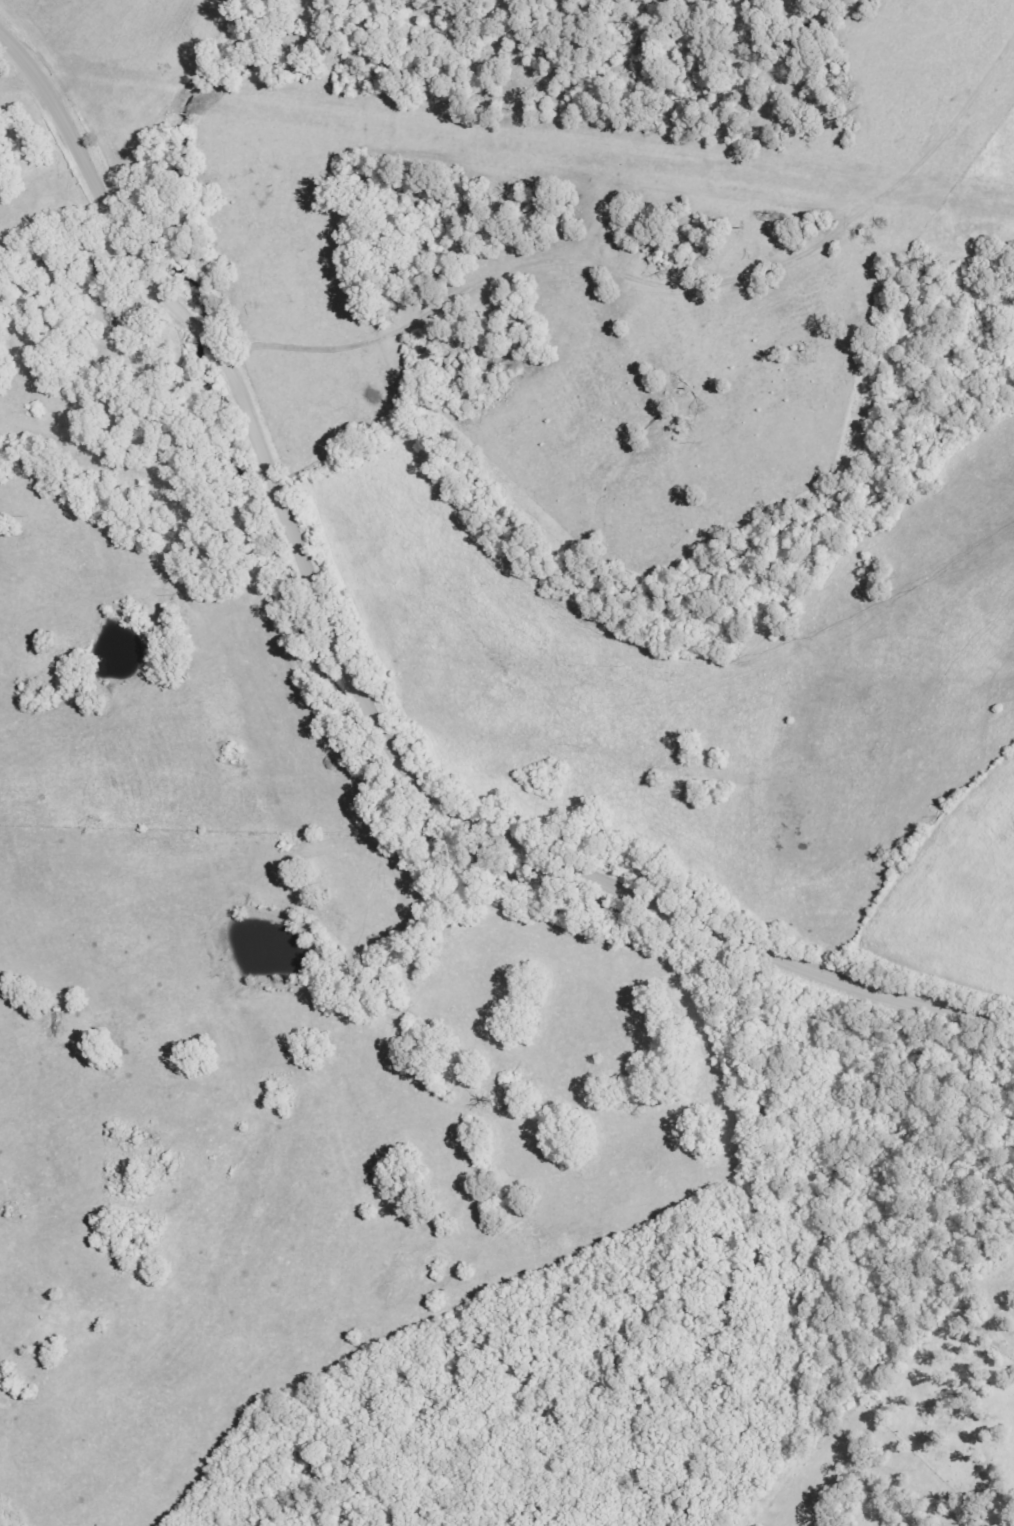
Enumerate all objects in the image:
road: (682, 289)
road: (361, 687)

